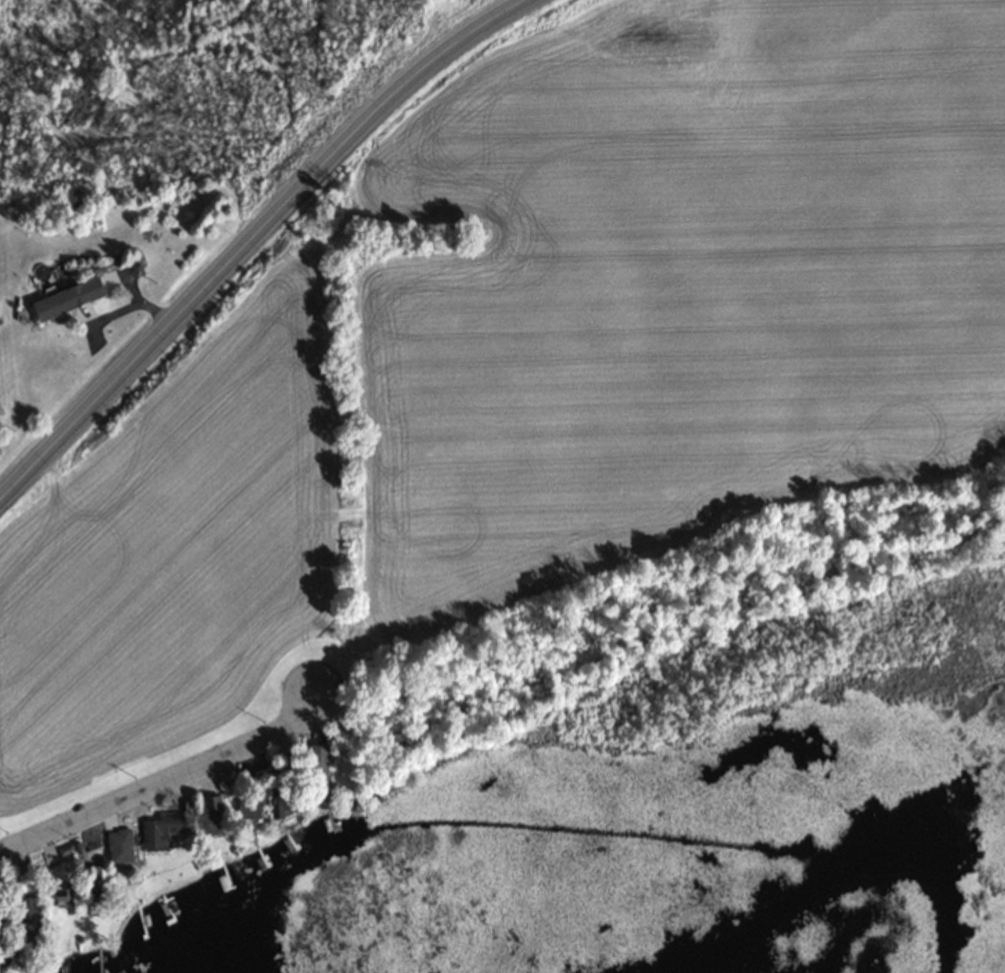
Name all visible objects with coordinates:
road: (250, 239)
building: (73, 294)
building: (312, 770)
road: (166, 777)
building: (280, 802)
building: (245, 805)
building: (209, 815)
building: (158, 829)
building: (114, 846)
building: (89, 866)
building: (22, 914)
building: (0, 924)

